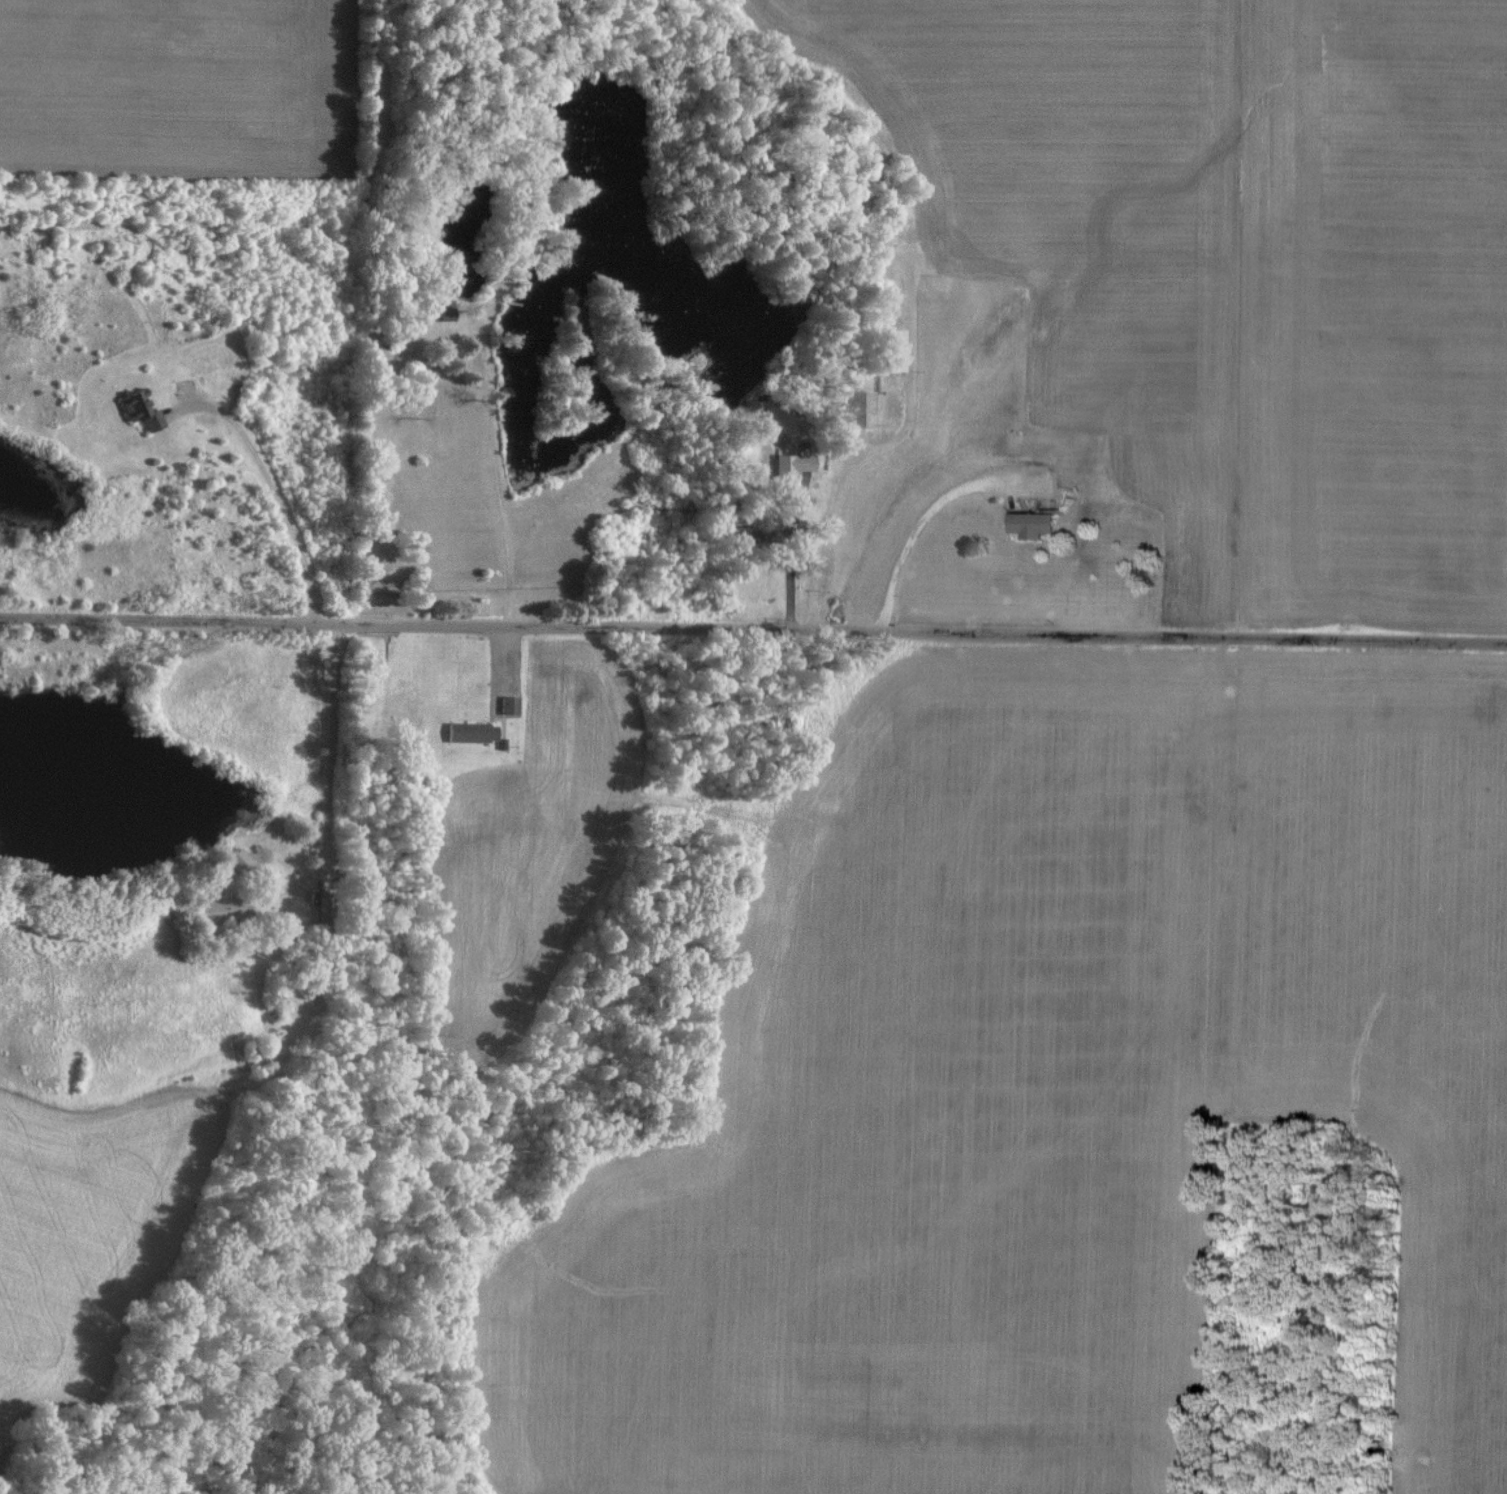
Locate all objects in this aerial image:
building: (857, 407)
building: (142, 409)
building: (786, 468)
road: (276, 492)
road: (500, 498)
building: (1027, 523)
road: (919, 529)
road: (829, 541)
road: (753, 629)
building: (467, 731)
road: (333, 776)
building: (239, 857)

